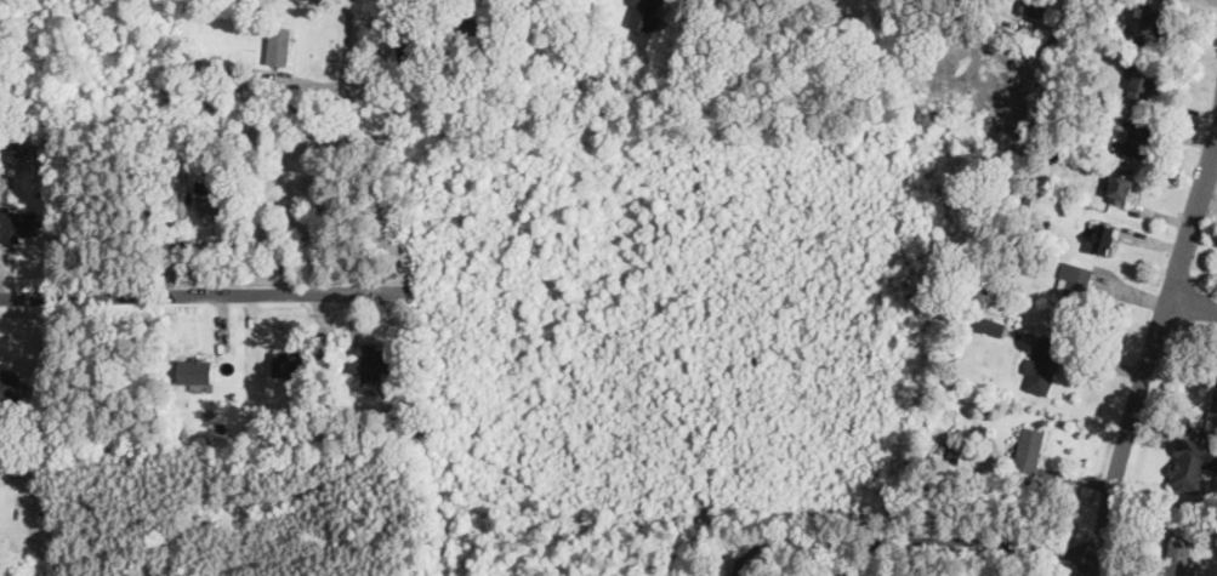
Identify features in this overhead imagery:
building: (1031, 6)
road: (1071, 8)
building: (643, 12)
building: (1149, 27)
road: (343, 64)
building: (1143, 80)
building: (1139, 136)
building: (1120, 186)
building: (211, 195)
building: (18, 223)
building: (1103, 236)
building: (1073, 285)
road: (210, 290)
road: (1194, 302)
building: (990, 324)
road: (1149, 357)
building: (371, 359)
building: (291, 361)
building: (1042, 363)
building: (197, 370)
building: (10, 384)
building: (1213, 404)
building: (1028, 449)
building: (1190, 463)
road: (906, 540)
building: (1177, 553)
road: (875, 558)

